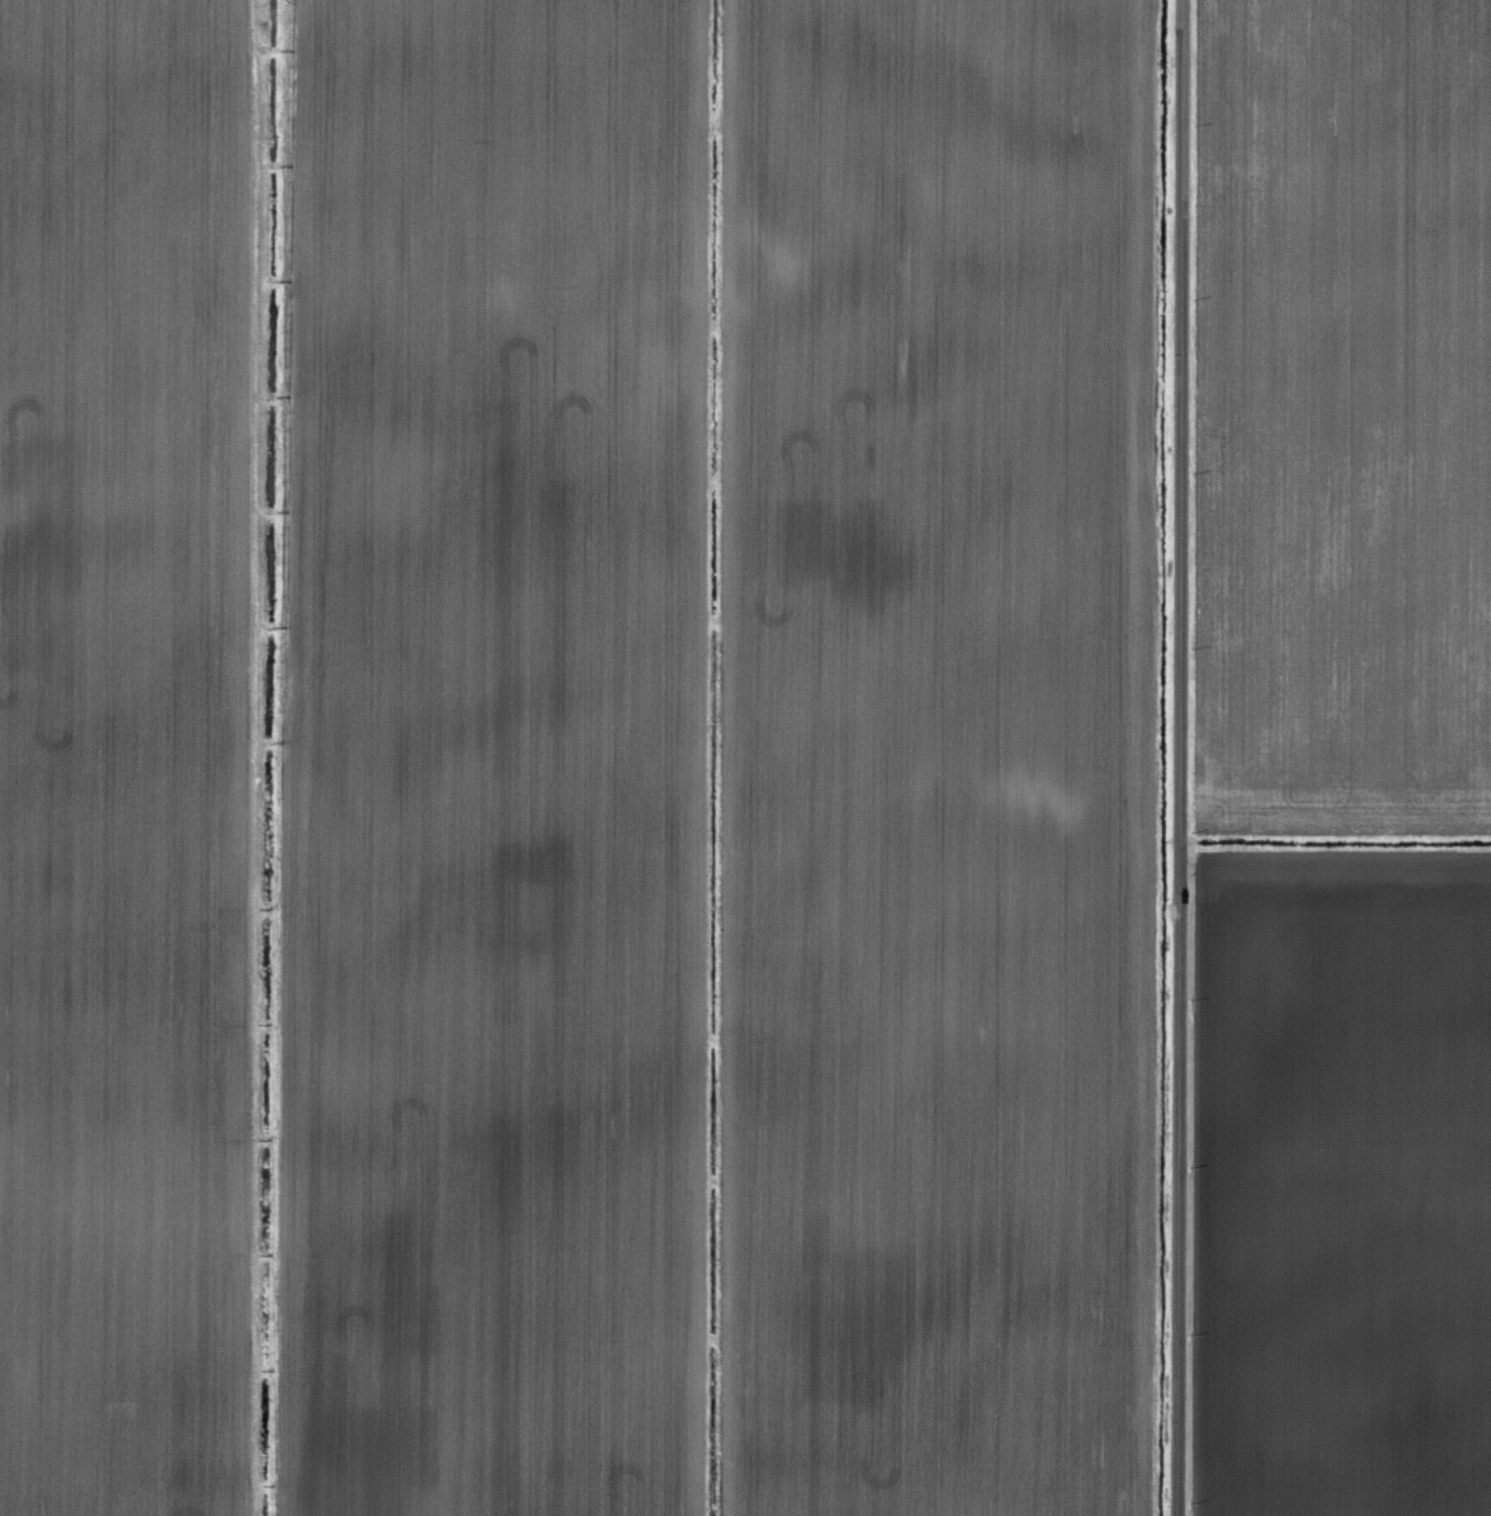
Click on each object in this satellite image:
road: (1180, 758)

